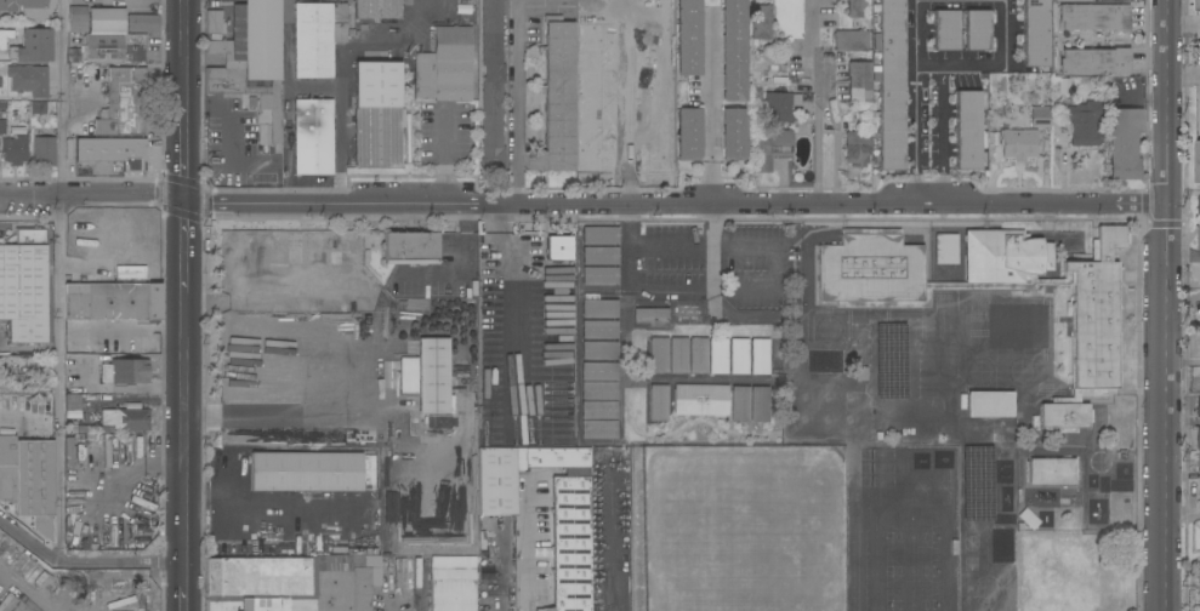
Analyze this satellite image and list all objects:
building: (1069, 0)
building: (1198, 5)
building: (29, 8)
building: (858, 8)
building: (379, 10)
road: (444, 10)
building: (78, 19)
building: (1094, 19)
building: (108, 22)
building: (143, 24)
building: (214, 24)
building: (761, 24)
road: (1183, 25)
building: (946, 30)
building: (978, 32)
road: (1005, 33)
building: (1037, 34)
building: (5, 38)
building: (318, 38)
building: (689, 38)
building: (852, 41)
building: (251, 46)
building: (33, 47)
road: (184, 47)
building: (115, 50)
building: (734, 51)
building: (1093, 62)
road: (340, 65)
building: (445, 67)
road: (1183, 72)
building: (590, 73)
building: (29, 81)
building: (892, 81)
building: (859, 82)
building: (1, 84)
building: (491, 86)
building: (1063, 86)
road: (286, 90)
road: (62, 97)
building: (756, 97)
building: (557, 101)
road: (915, 101)
road: (516, 102)
road: (818, 102)
building: (124, 103)
building: (269, 104)
building: (38, 108)
road: (712, 108)
building: (777, 108)
road: (231, 116)
building: (377, 116)
building: (1041, 116)
building: (1085, 122)
building: (969, 131)
building: (688, 133)
road: (944, 133)
building: (734, 135)
building: (313, 138)
building: (1018, 144)
building: (1125, 144)
road: (183, 147)
building: (770, 148)
building: (857, 148)
building: (597, 149)
building: (15, 150)
building: (45, 150)
building: (655, 150)
building: (113, 152)
road: (448, 158)
building: (1198, 162)
road: (91, 193)
traffic signals: (183, 199)
road: (340, 202)
road: (831, 202)
building: (1199, 205)
road: (712, 227)
building: (599, 235)
building: (1199, 240)
building: (410, 247)
building: (559, 249)
building: (946, 249)
road: (183, 252)
building: (349, 255)
building: (599, 256)
road: (1183, 256)
parking lot: (722, 262)
building: (599, 276)
building: (24, 285)
road: (753, 289)
building: (113, 302)
road: (1165, 305)
building: (598, 307)
building: (451, 308)
building: (650, 313)
building: (684, 313)
road: (513, 315)
building: (1094, 321)
building: (1018, 326)
building: (599, 330)
building: (599, 350)
building: (659, 355)
building: (678, 355)
building: (699, 355)
building: (718, 356)
building: (739, 356)
building: (760, 356)
road: (1182, 361)
building: (410, 367)
building: (125, 371)
building: (599, 371)
building: (436, 376)
road: (59, 378)
building: (404, 387)
building: (599, 390)
building: (700, 400)
building: (73, 401)
building: (658, 402)
building: (740, 404)
building: (760, 404)
building: (990, 405)
building: (1199, 407)
building: (599, 410)
road: (281, 416)
building: (127, 418)
road: (690, 422)
building: (598, 429)
building: (87, 430)
road: (184, 434)
building: (360, 438)
building: (1199, 439)
building: (559, 441)
building: (552, 458)
building: (1199, 464)
building: (307, 472)
building: (1051, 472)
building: (372, 474)
building: (28, 480)
building: (497, 481)
road: (240, 504)
road: (1182, 514)
building: (1028, 519)
road: (613, 541)
building: (571, 543)
road: (527, 547)
road: (84, 564)
park: (912, 566)
road: (495, 567)
building: (1198, 571)
building: (257, 578)
building: (340, 583)
building: (454, 584)
road: (184, 587)
railway: (21, 594)
building: (1199, 601)
building: (244, 605)
building: (296, 605)

